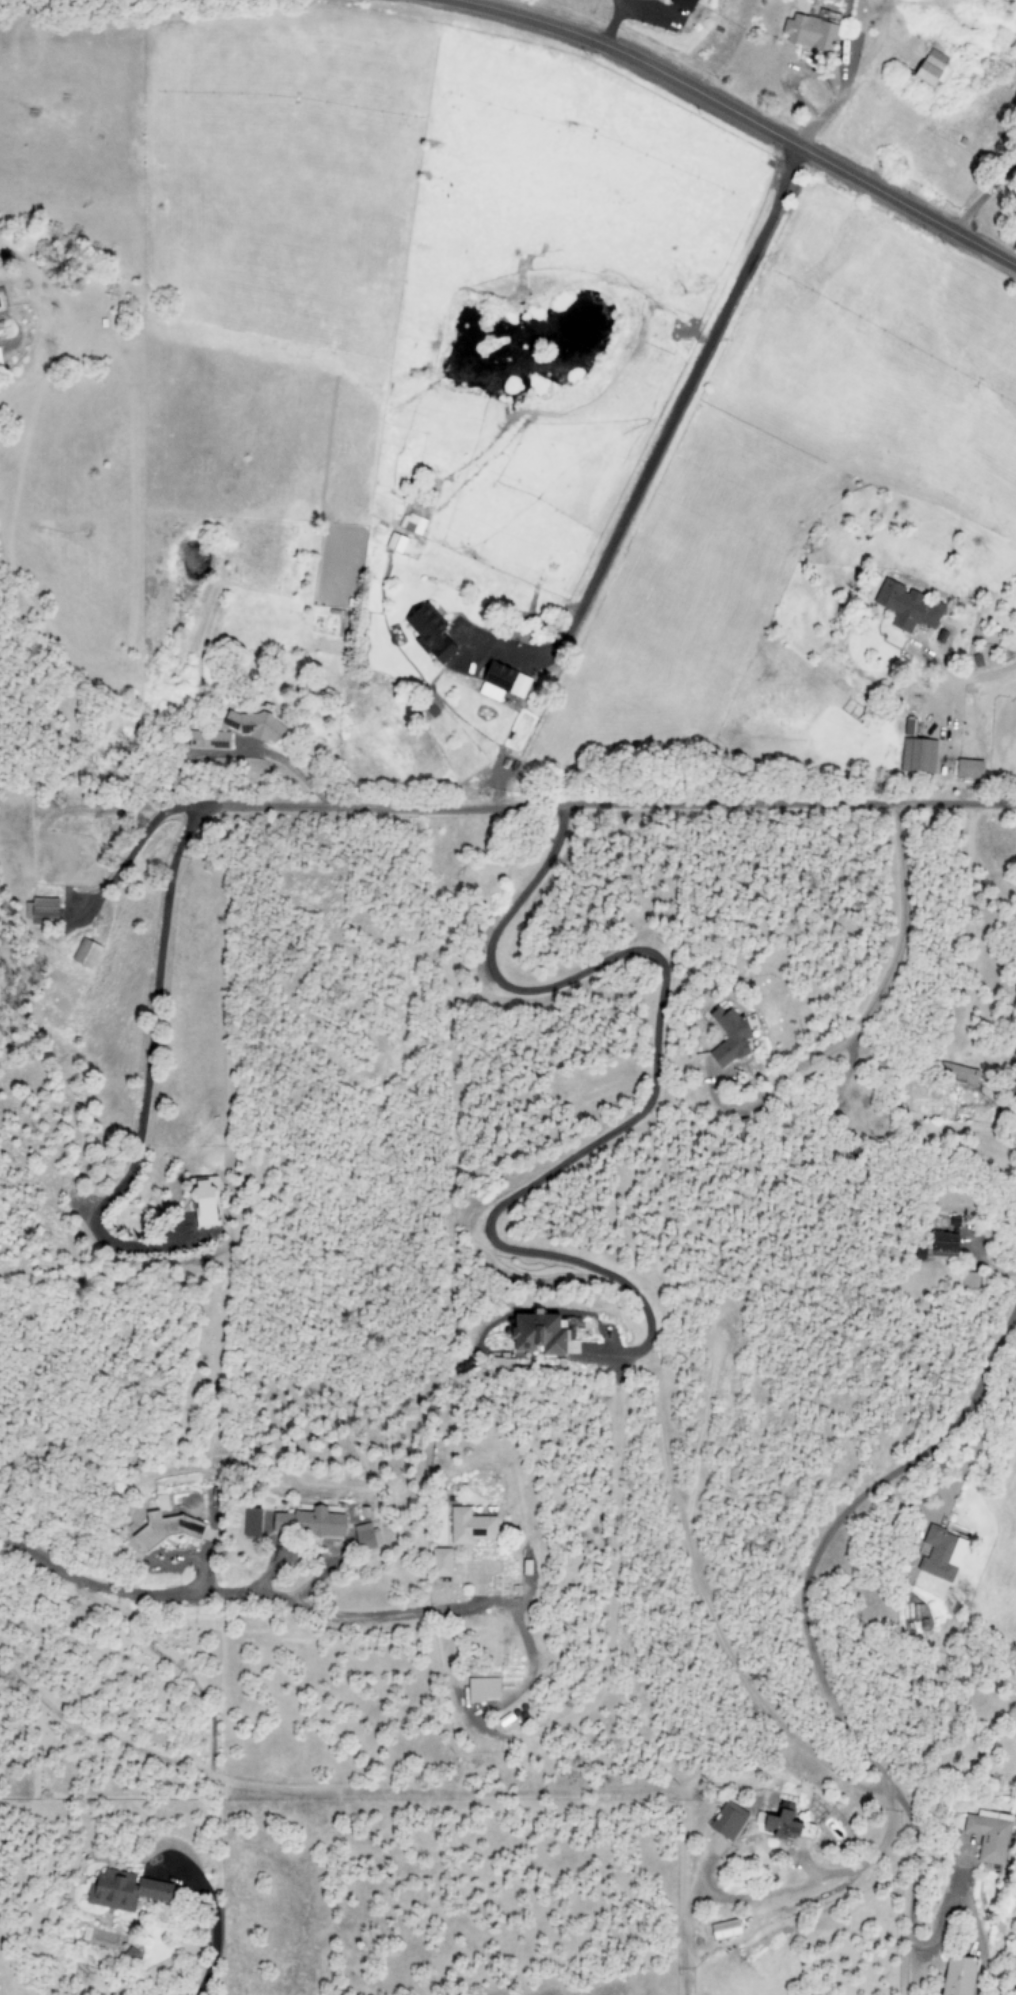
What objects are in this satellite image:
building: (683, 4)
building: (809, 32)
road: (1014, 51)
road: (864, 52)
building: (932, 69)
road: (744, 117)
road: (814, 121)
building: (1, 359)
road: (664, 429)
building: (413, 523)
building: (397, 543)
building: (906, 607)
building: (433, 633)
road: (971, 676)
building: (503, 682)
building: (256, 720)
building: (908, 727)
building: (210, 740)
building: (917, 755)
road: (292, 767)
building: (968, 769)
road: (608, 803)
building: (43, 911)
building: (86, 953)
building: (729, 1036)
road: (144, 1073)
road: (653, 1076)
building: (209, 1201)
building: (944, 1242)
building: (969, 1280)
building: (547, 1332)
building: (261, 1520)
building: (318, 1520)
road: (830, 1523)
building: (481, 1524)
building: (173, 1525)
building: (376, 1535)
building: (940, 1554)
building: (452, 1560)
building: (490, 1688)
building: (988, 1837)
building: (128, 1890)
building: (957, 1976)

